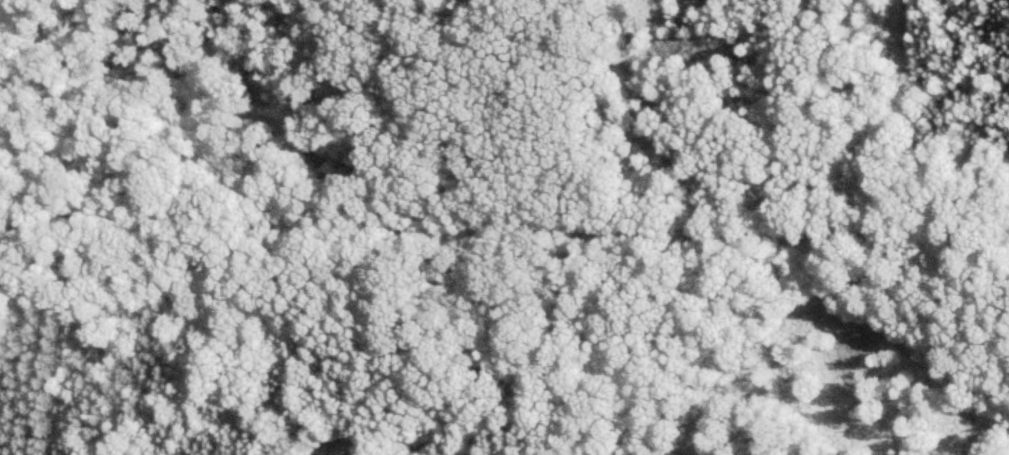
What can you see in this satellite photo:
road: (504, 228)

